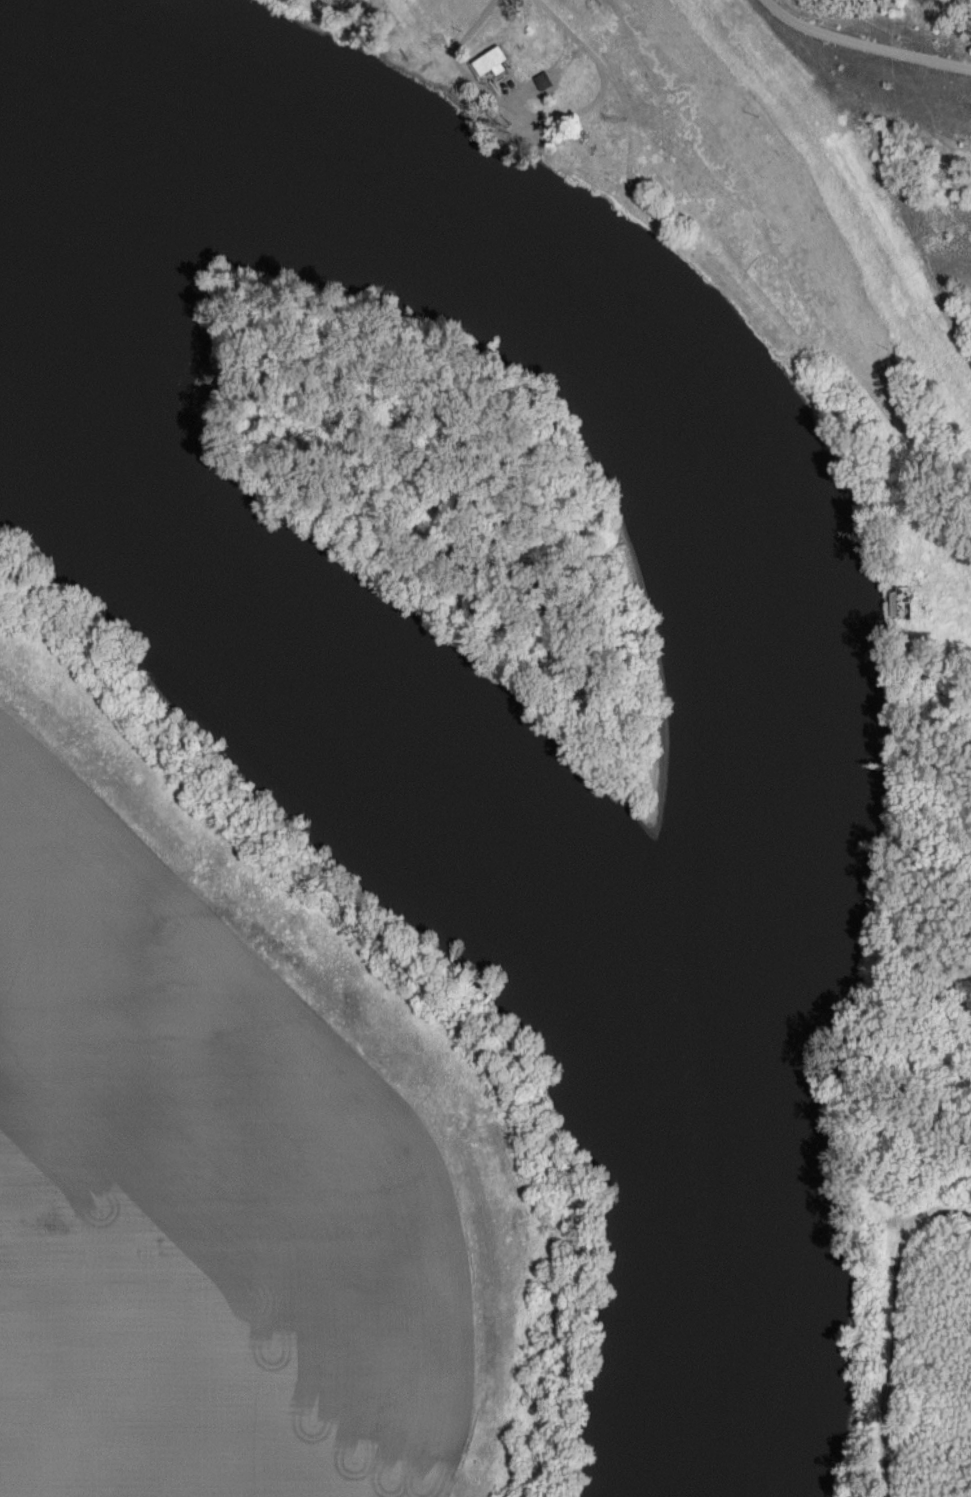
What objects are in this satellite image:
road: (479, 18)
road: (866, 46)
building: (495, 60)
building: (545, 78)
river: (559, 700)

